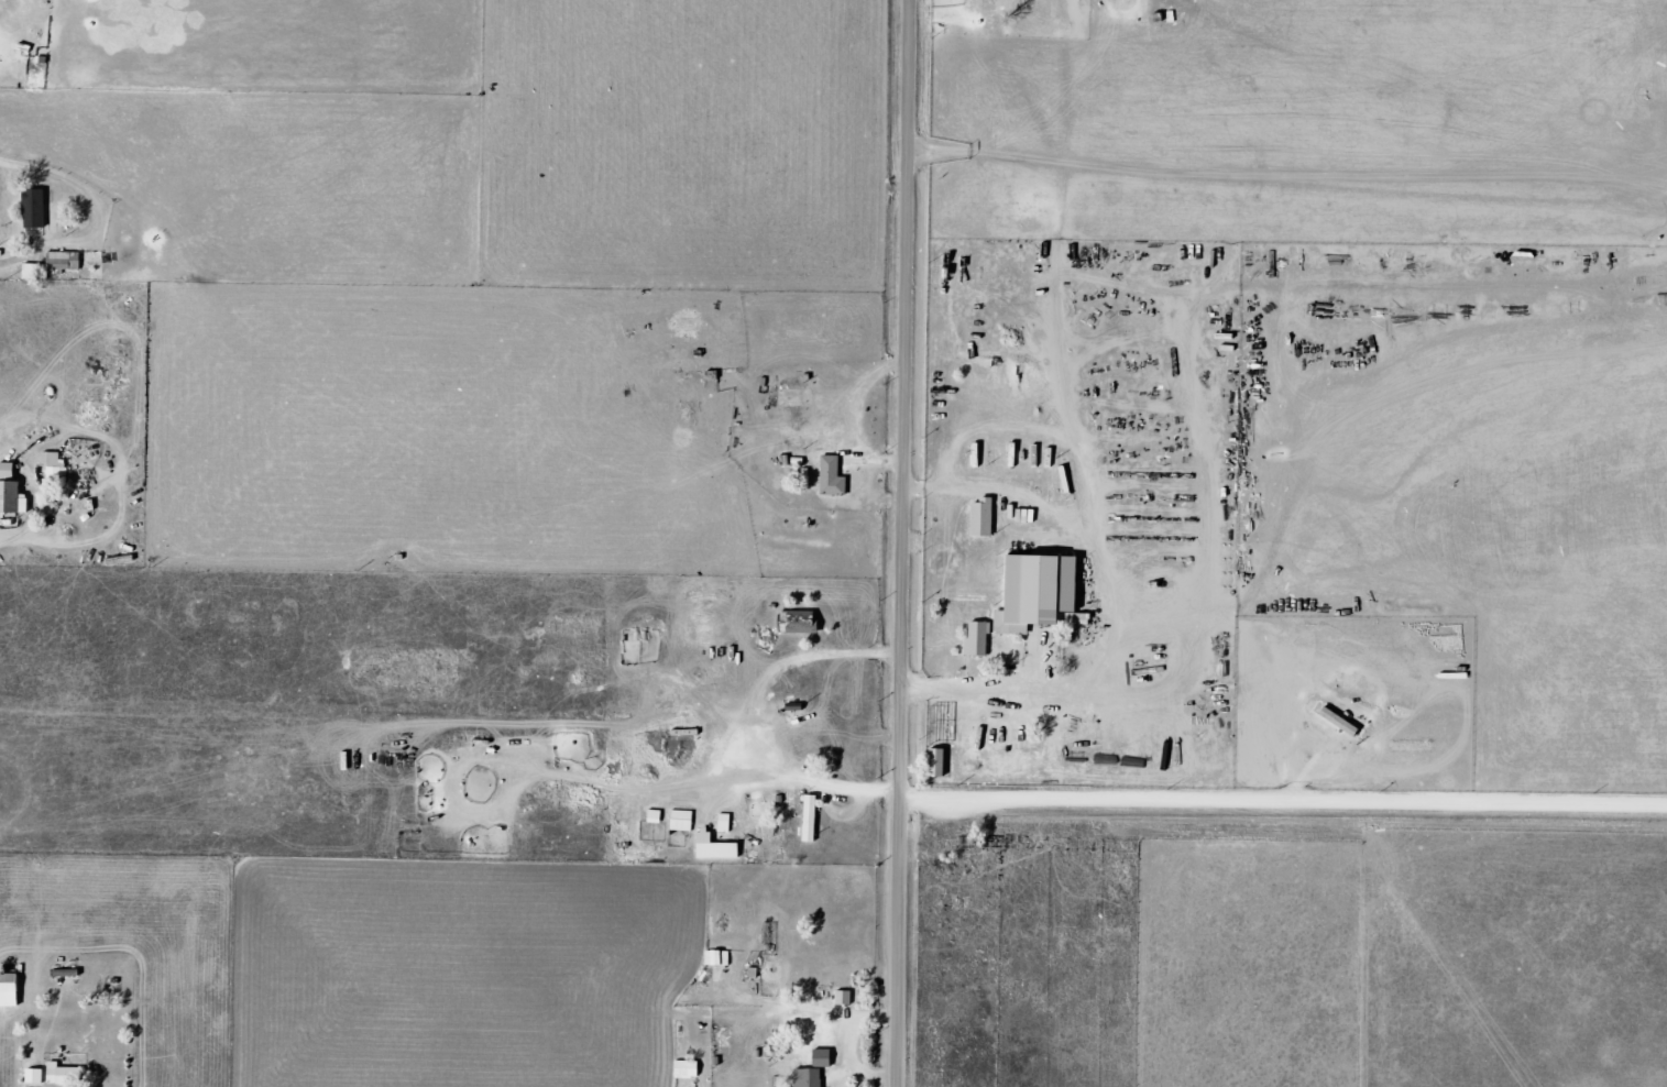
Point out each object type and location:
building: (37, 208)
building: (835, 476)
building: (13, 491)
building: (986, 518)
road: (902, 542)
building: (1044, 594)
building: (804, 623)
building: (981, 639)
building: (941, 762)
road: (1283, 799)
building: (659, 815)
building: (813, 819)
building: (684, 821)
building: (720, 847)
building: (721, 958)
building: (11, 990)
building: (825, 1058)
building: (690, 1069)
building: (66, 1075)
building: (37, 1076)
building: (811, 1078)

